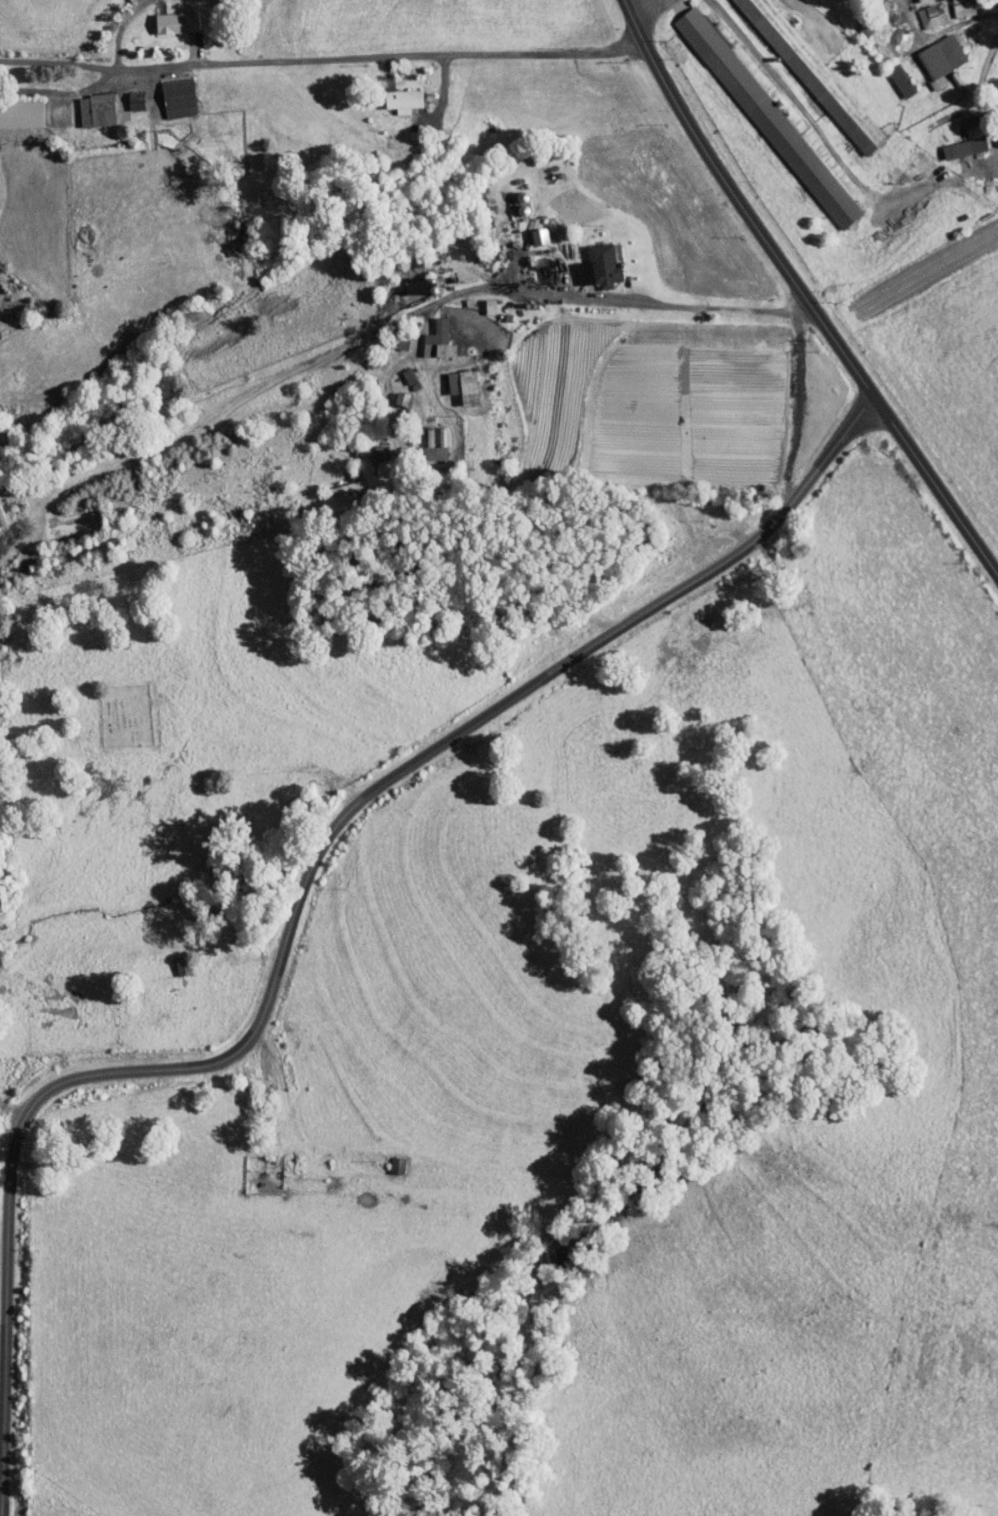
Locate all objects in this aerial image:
building: (952, 5)
building: (920, 10)
building: (164, 16)
building: (766, 29)
building: (930, 53)
road: (317, 62)
building: (890, 74)
building: (167, 91)
building: (125, 94)
building: (393, 94)
building: (85, 104)
building: (16, 107)
building: (757, 111)
building: (996, 133)
building: (954, 141)
building: (529, 230)
building: (589, 260)
building: (534, 264)
building: (480, 300)
road: (795, 300)
road: (384, 321)
building: (429, 334)
building: (400, 372)
building: (453, 380)
building: (391, 393)
building: (424, 447)
building: (339, 478)
road: (367, 791)
building: (386, 1158)

